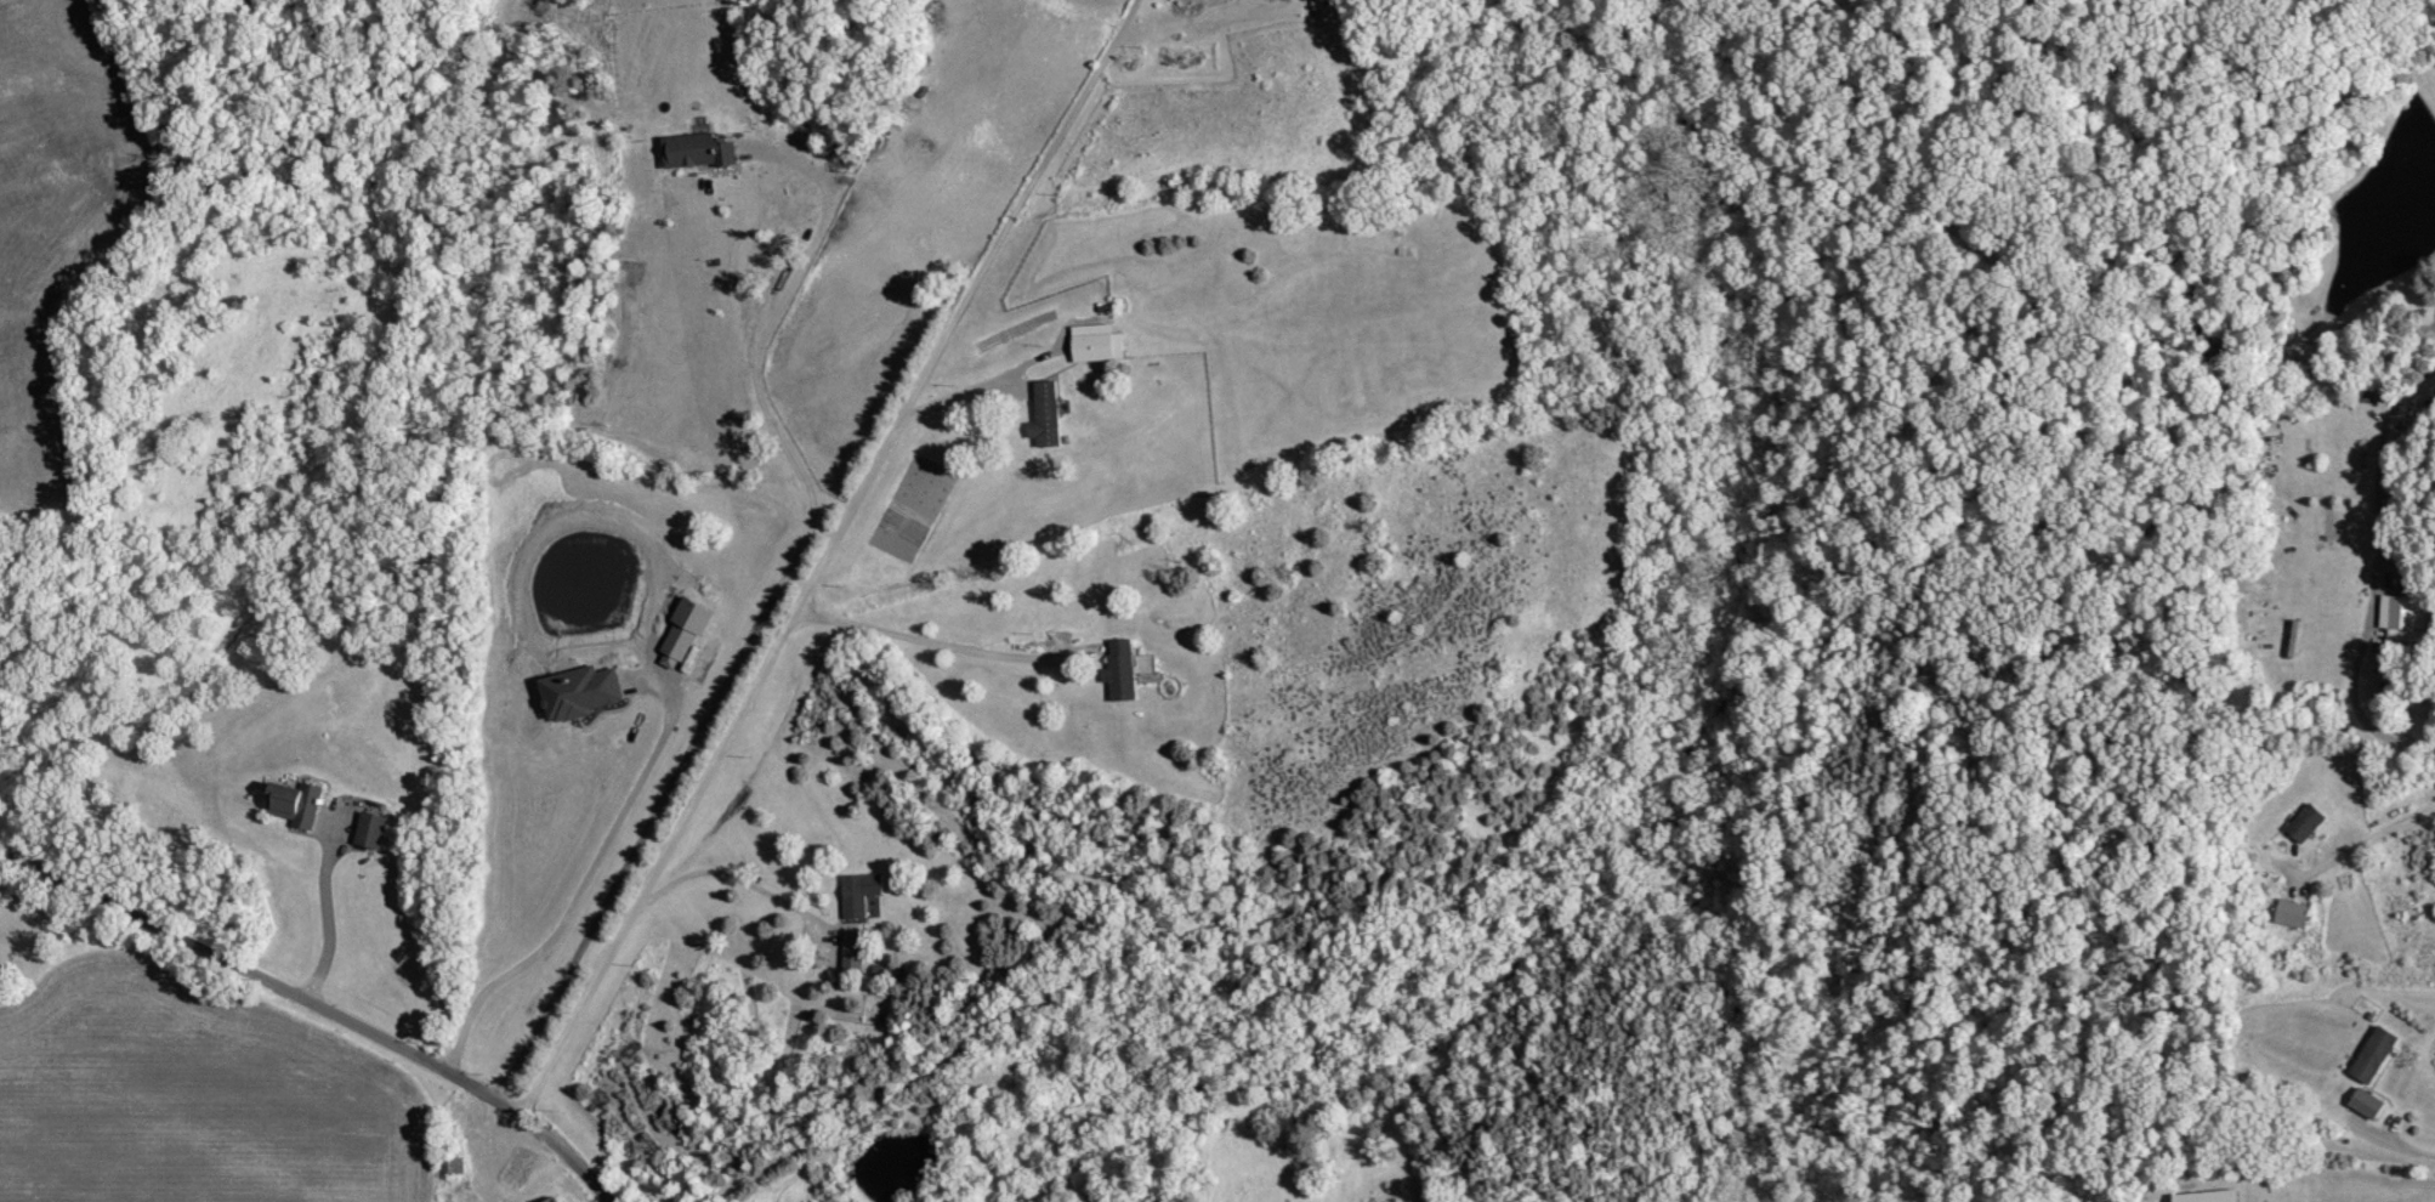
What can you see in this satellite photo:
building: (698, 152)
building: (1096, 342)
road: (980, 386)
building: (1046, 414)
road: (821, 560)
road: (2380, 567)
building: (2406, 617)
road: (753, 629)
building: (683, 634)
road: (925, 641)
building: (1122, 669)
building: (579, 692)
building: (295, 803)
building: (2308, 822)
building: (373, 830)
road: (2366, 838)
road: (733, 878)
building: (862, 886)
road: (579, 890)
building: (2293, 913)
road: (323, 914)
building: (853, 949)
road: (313, 1009)
building: (2376, 1054)
building: (2367, 1104)
road: (2395, 1145)
building: (2209, 1196)
building: (555, 1200)

